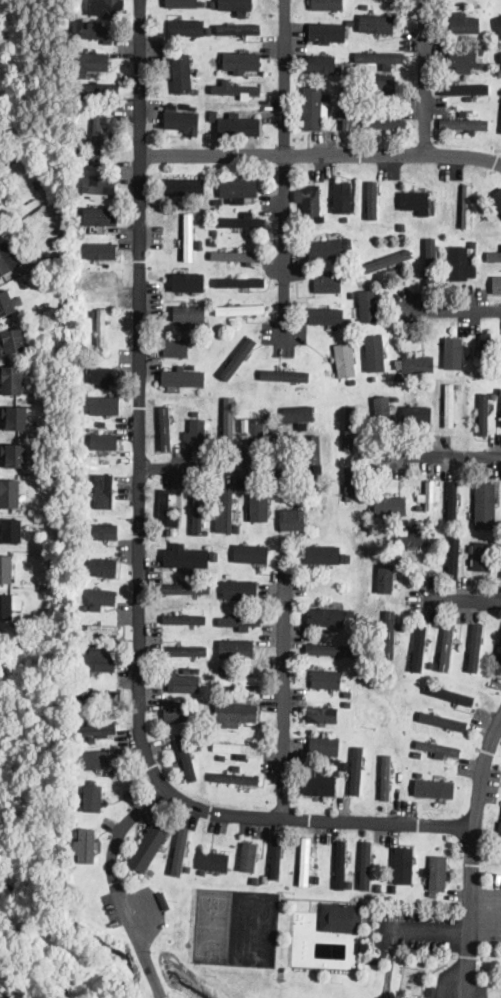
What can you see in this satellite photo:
building: (184, 3)
building: (236, 4)
building: (327, 4)
building: (106, 7)
building: (84, 9)
building: (484, 14)
building: (351, 22)
building: (377, 23)
building: (93, 25)
building: (498, 25)
building: (187, 27)
building: (466, 27)
building: (239, 29)
building: (207, 32)
building: (326, 33)
building: (96, 34)
building: (481, 52)
building: (500, 53)
building: (379, 57)
building: (480, 58)
building: (463, 59)
building: (93, 60)
building: (499, 61)
building: (213, 62)
building: (241, 62)
building: (322, 65)
building: (339, 69)
building: (467, 70)
building: (181, 75)
road: (287, 78)
road: (426, 78)
building: (381, 84)
building: (95, 88)
building: (465, 88)
building: (195, 90)
building: (236, 91)
building: (499, 91)
building: (322, 95)
building: (369, 97)
building: (348, 105)
building: (367, 108)
building: (309, 110)
building: (324, 110)
building: (368, 115)
building: (213, 116)
building: (182, 120)
building: (385, 124)
building: (463, 124)
building: (239, 127)
building: (97, 141)
building: (87, 157)
road: (322, 157)
building: (38, 183)
building: (102, 186)
building: (185, 187)
building: (238, 189)
building: (342, 197)
building: (496, 197)
building: (371, 199)
building: (311, 201)
building: (414, 201)
building: (217, 203)
building: (466, 207)
building: (205, 211)
building: (213, 211)
building: (101, 216)
building: (345, 219)
building: (198, 220)
building: (334, 222)
building: (241, 223)
building: (372, 224)
building: (402, 228)
building: (215, 232)
building: (497, 233)
building: (189, 238)
building: (334, 239)
building: (213, 243)
building: (438, 243)
building: (200, 245)
building: (473, 245)
building: (80, 249)
building: (101, 251)
building: (330, 251)
road: (287, 256)
building: (235, 257)
building: (495, 257)
building: (9, 259)
building: (387, 261)
building: (430, 263)
building: (460, 264)
building: (348, 280)
building: (190, 281)
building: (102, 282)
building: (240, 283)
building: (327, 283)
building: (86, 284)
building: (496, 285)
building: (237, 291)
building: (202, 294)
building: (6, 304)
building: (369, 305)
road: (452, 309)
building: (240, 310)
building: (189, 313)
building: (93, 314)
building: (326, 317)
building: (232, 320)
building: (348, 322)
building: (101, 331)
building: (214, 335)
building: (12, 342)
building: (174, 349)
building: (485, 353)
building: (53, 354)
building: (453, 354)
building: (234, 355)
building: (375, 356)
building: (238, 358)
building: (345, 360)
building: (415, 364)
building: (449, 371)
building: (498, 373)
building: (285, 376)
building: (103, 377)
building: (183, 378)
building: (398, 378)
building: (404, 378)
building: (12, 380)
building: (383, 381)
building: (353, 382)
building: (459, 386)
building: (96, 393)
building: (494, 395)
building: (104, 405)
building: (449, 406)
building: (173, 410)
building: (383, 410)
building: (213, 411)
building: (298, 414)
building: (417, 414)
building: (201, 415)
building: (270, 417)
building: (483, 417)
building: (16, 418)
building: (229, 422)
building: (101, 424)
building: (165, 428)
building: (350, 429)
building: (254, 431)
building: (197, 432)
building: (270, 440)
building: (104, 442)
building: (311, 449)
building: (15, 455)
road: (447, 455)
road: (212, 466)
building: (308, 472)
building: (353, 481)
building: (80, 489)
building: (105, 491)
building: (9, 494)
building: (430, 495)
building: (452, 501)
building: (230, 503)
building: (259, 504)
building: (484, 505)
building: (393, 507)
building: (419, 508)
building: (85, 511)
building: (198, 511)
building: (164, 512)
building: (372, 518)
building: (292, 521)
building: (241, 522)
building: (102, 530)
building: (11, 531)
building: (174, 532)
building: (463, 532)
building: (81, 533)
building: (381, 533)
building: (411, 537)
building: (471, 548)
road: (142, 553)
building: (251, 553)
building: (323, 554)
building: (483, 557)
building: (186, 558)
building: (453, 558)
building: (102, 567)
building: (6, 569)
building: (385, 578)
building: (186, 588)
building: (239, 589)
building: (101, 597)
road: (463, 600)
building: (9, 605)
building: (84, 607)
building: (350, 612)
building: (326, 618)
building: (184, 620)
building: (240, 621)
building: (100, 629)
building: (389, 634)
building: (447, 646)
building: (236, 648)
building: (419, 648)
building: (186, 649)
building: (330, 649)
building: (475, 649)
building: (498, 654)
building: (96, 663)
building: (463, 668)
building: (497, 668)
building: (187, 669)
building: (228, 670)
building: (196, 671)
building: (327, 678)
building: (240, 681)
building: (180, 682)
building: (347, 694)
building: (451, 695)
building: (96, 696)
road: (285, 704)
building: (348, 705)
building: (174, 711)
building: (234, 714)
building: (206, 715)
building: (321, 715)
building: (443, 722)
building: (94, 730)
building: (324, 745)
building: (237, 748)
building: (436, 748)
building: (348, 752)
building: (417, 753)
building: (183, 755)
building: (206, 755)
building: (222, 756)
building: (215, 757)
building: (95, 759)
building: (336, 773)
building: (356, 774)
building: (418, 775)
building: (385, 776)
building: (235, 778)
building: (317, 785)
building: (433, 789)
building: (100, 795)
building: (92, 797)
building: (499, 827)
building: (86, 846)
building: (149, 848)
building: (179, 851)
building: (248, 856)
building: (276, 858)
building: (214, 860)
road: (473, 860)
building: (304, 862)
building: (341, 865)
building: (365, 865)
building: (405, 867)
building: (187, 871)
building: (202, 872)
building: (437, 873)
building: (315, 876)
building: (161, 886)
road: (119, 887)
building: (432, 894)
building: (163, 901)
building: (303, 906)
building: (312, 909)
building: (341, 919)
park: (212, 924)
road: (428, 929)
building: (362, 948)
building: (431, 992)

